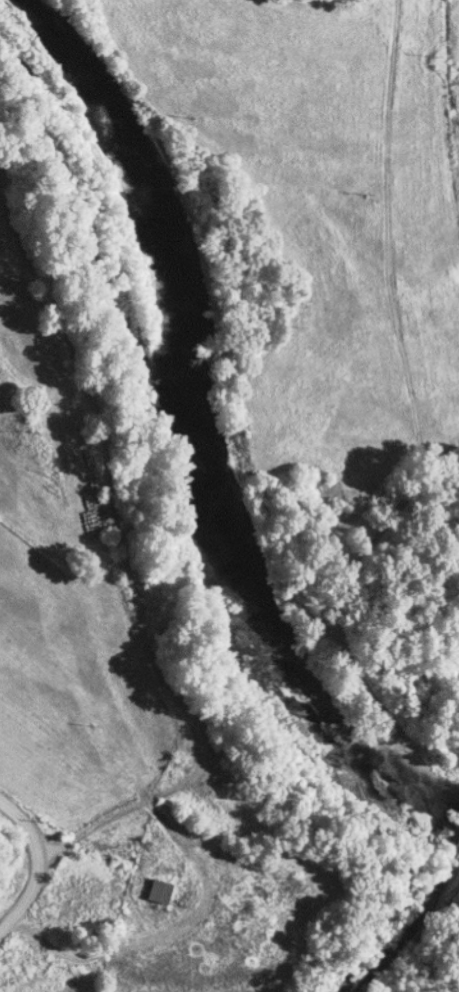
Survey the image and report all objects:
road: (386, 249)
river: (189, 450)
road: (457, 471)
road: (121, 544)
road: (39, 860)
building: (157, 890)

